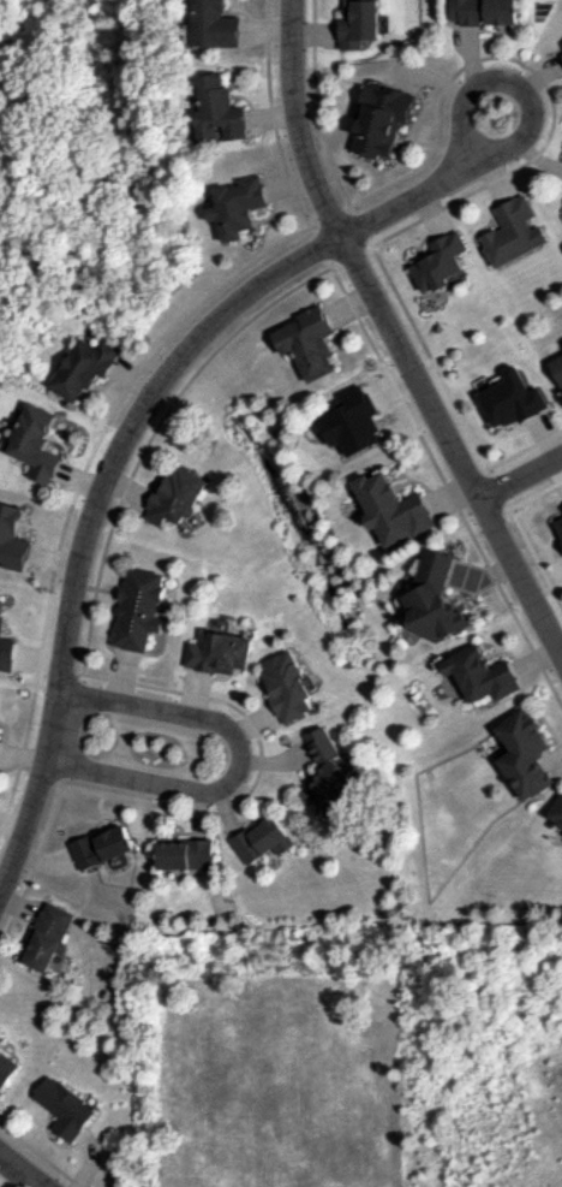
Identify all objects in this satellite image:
building: (485, 11)
building: (357, 23)
building: (219, 24)
building: (561, 44)
road: (540, 71)
building: (219, 108)
park: (495, 114)
building: (378, 123)
road: (301, 124)
road: (512, 150)
building: (238, 207)
building: (515, 232)
road: (370, 242)
building: (440, 261)
building: (307, 343)
building: (557, 366)
building: (85, 368)
road: (133, 380)
building: (510, 399)
building: (36, 441)
road: (525, 447)
road: (122, 452)
road: (452, 452)
road: (520, 486)
road: (124, 493)
building: (177, 497)
building: (394, 508)
building: (551, 533)
building: (13, 538)
road: (557, 599)
building: (435, 601)
building: (140, 610)
building: (5, 647)
building: (225, 647)
building: (480, 675)
building: (289, 686)
building: (1, 742)
park: (151, 744)
building: (525, 754)
road: (231, 764)
building: (330, 777)
building: (556, 814)
building: (264, 841)
building: (101, 847)
building: (185, 854)
building: (50, 938)
building: (7, 1068)
building: (64, 1108)
road: (40, 1155)
road: (18, 1170)

